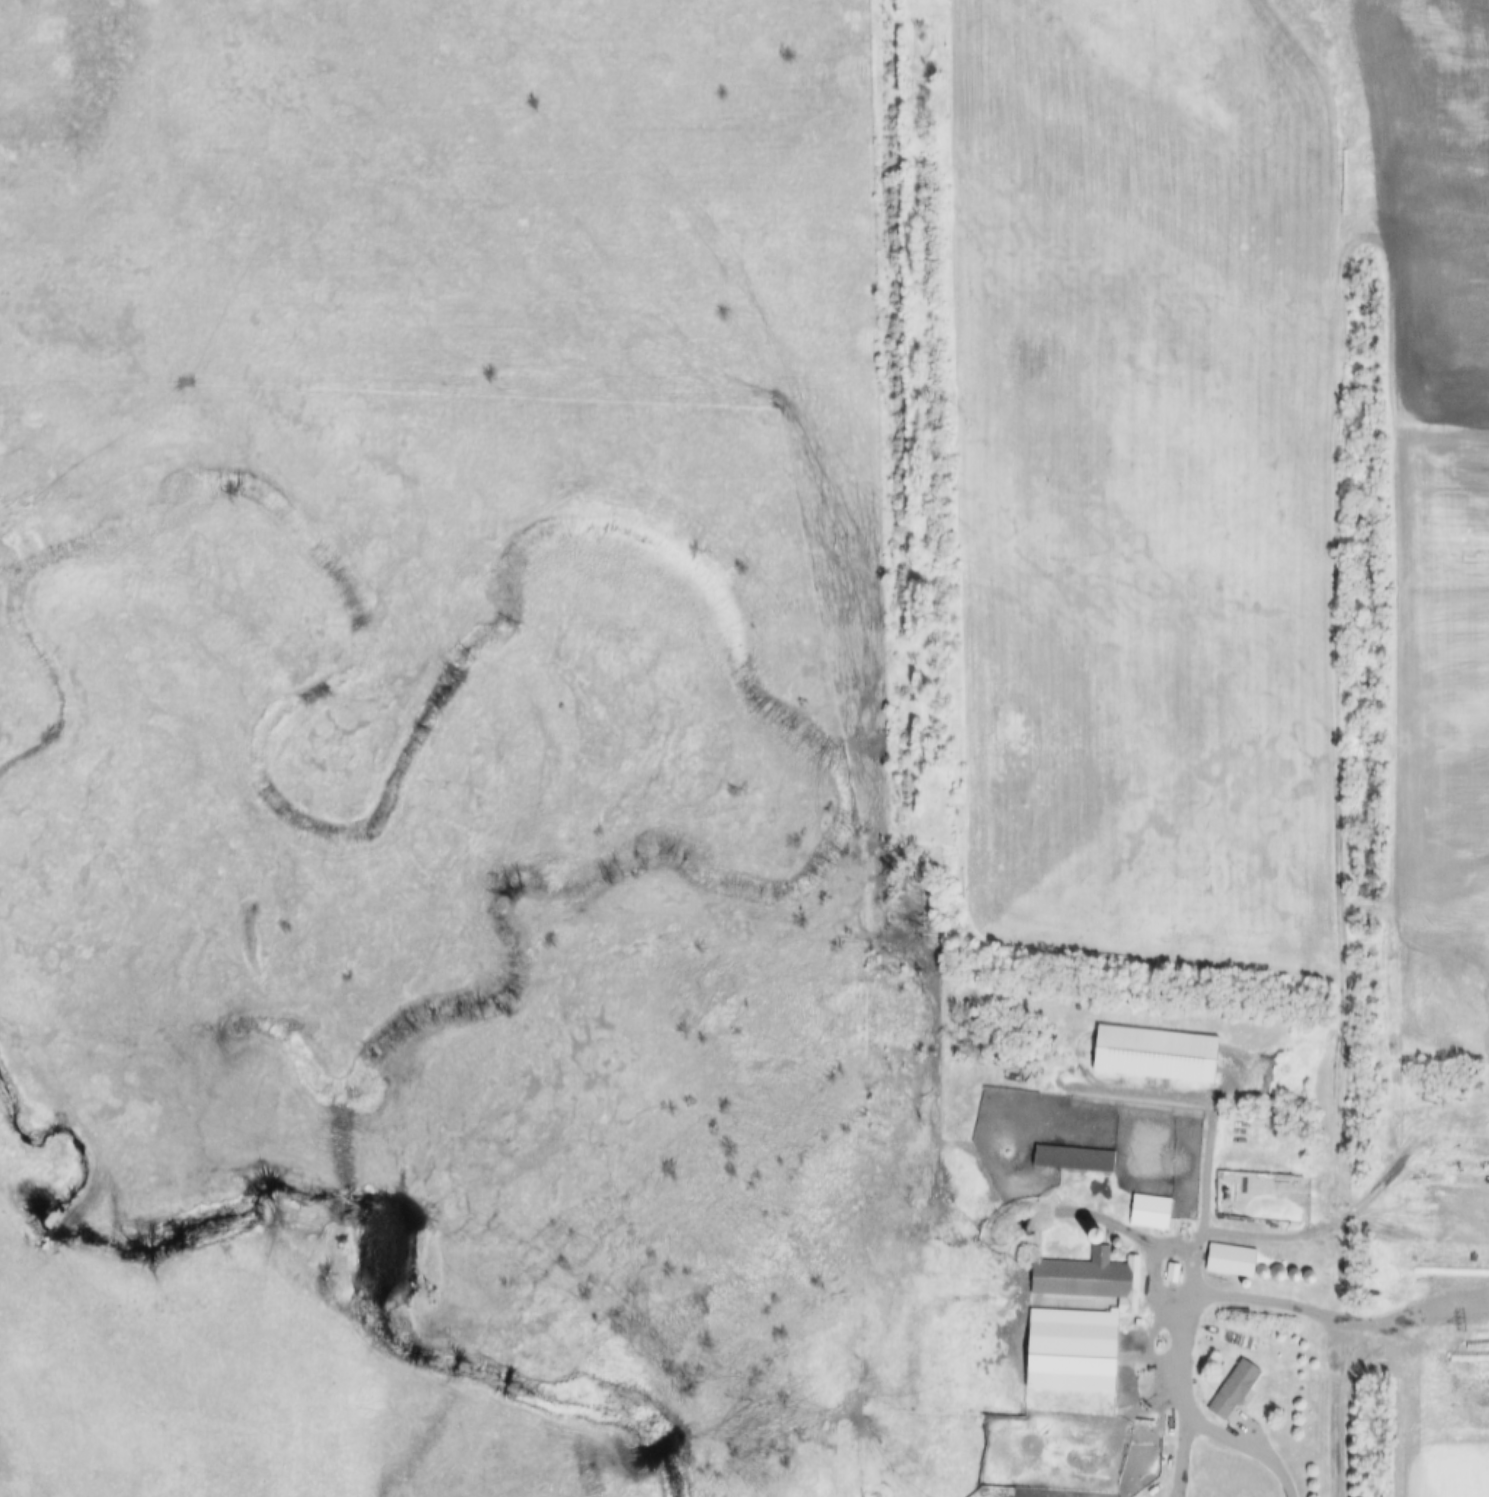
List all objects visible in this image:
building: (1160, 1055)
building: (1075, 1159)
building: (1153, 1212)
building: (1234, 1260)
road: (1221, 1295)
building: (1465, 1317)
building: (1081, 1322)
building: (1237, 1390)
road: (1182, 1447)

